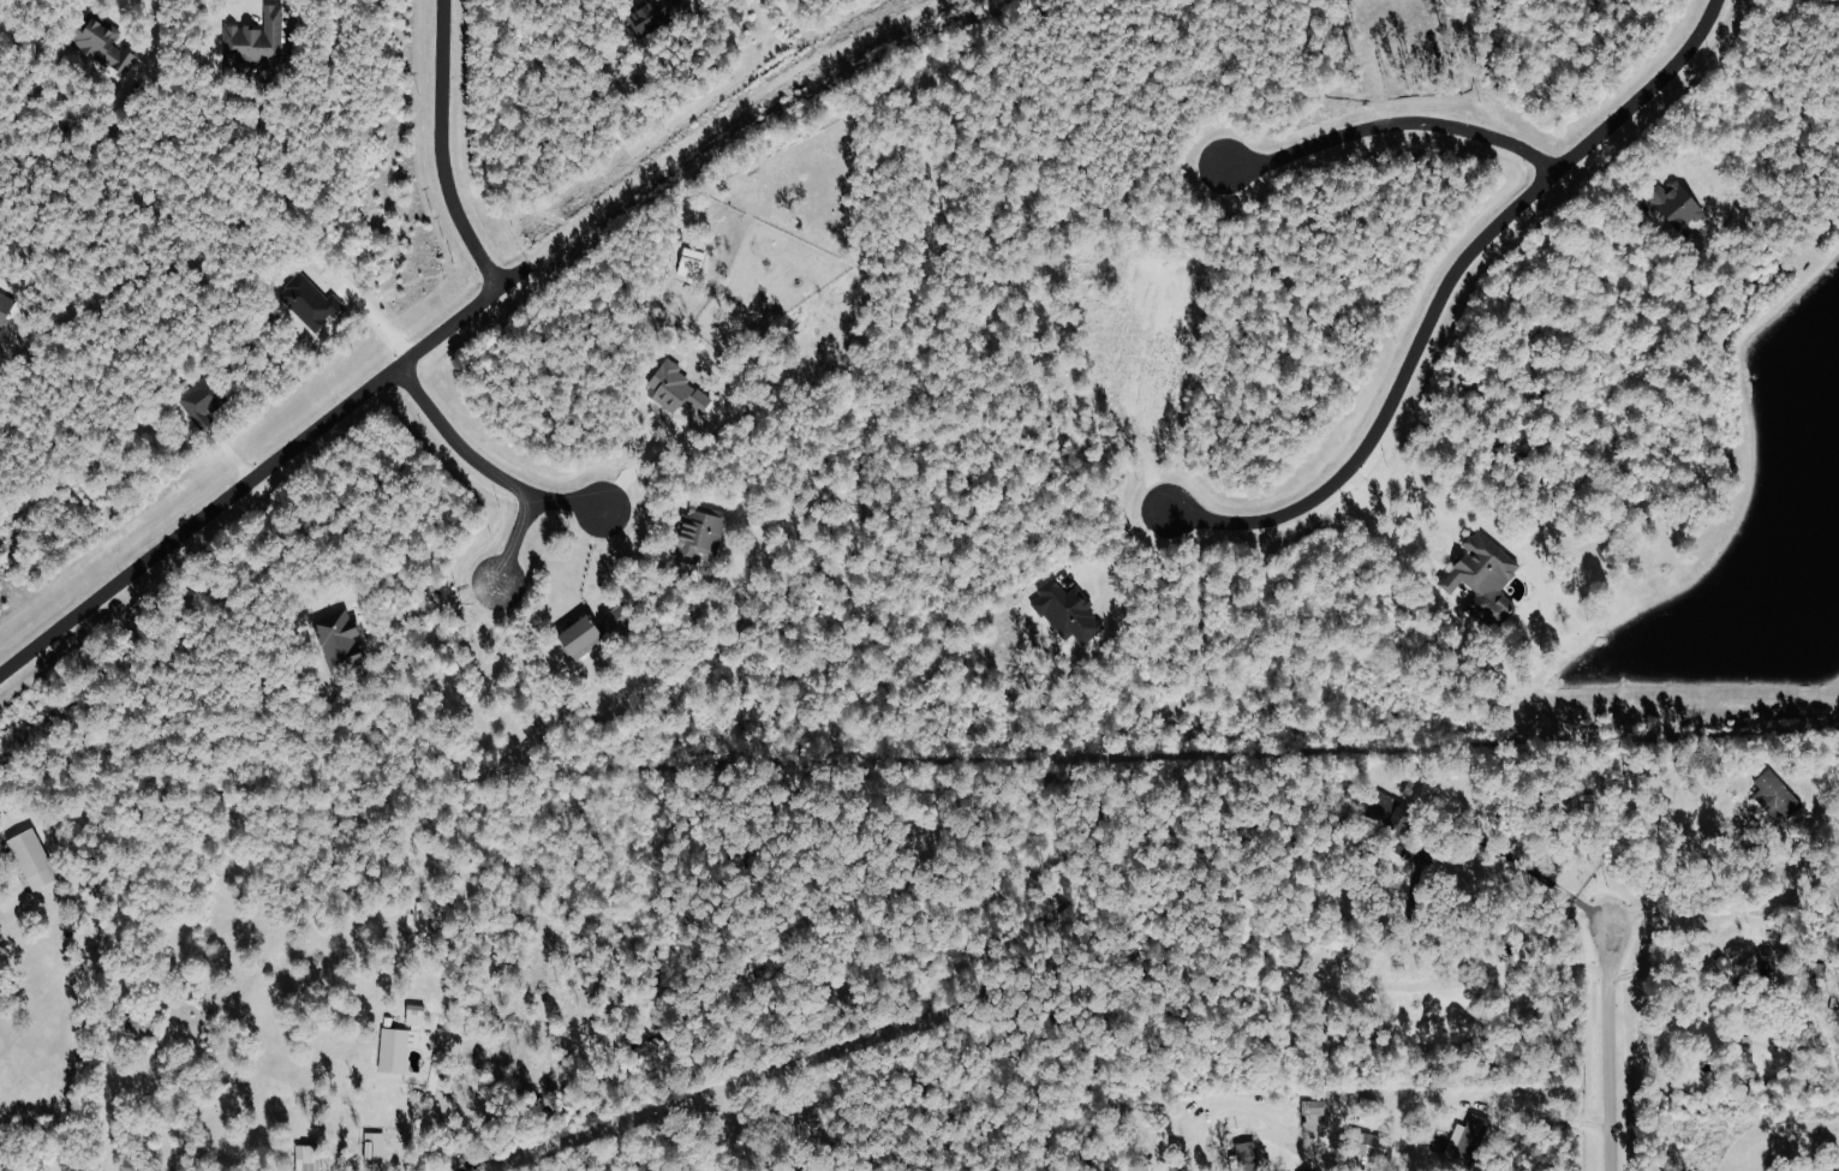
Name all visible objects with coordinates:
building: (652, 16)
road: (161, 28)
building: (255, 40)
building: (102, 43)
road: (1392, 127)
road: (441, 150)
building: (1677, 204)
road: (1445, 292)
building: (676, 390)
building: (199, 401)
road: (644, 450)
road: (471, 461)
road: (250, 478)
building: (699, 533)
road: (517, 539)
road: (1419, 546)
road: (1126, 550)
road: (598, 558)
building: (1485, 576)
road: (420, 605)
building: (1068, 613)
building: (615, 619)
building: (581, 638)
building: (1777, 796)
building: (1390, 813)
building: (31, 859)
road: (1524, 865)
road: (14, 897)
road: (1688, 898)
road: (1487, 974)
road: (1665, 974)
road: (1608, 1047)
building: (395, 1048)
building: (1313, 1106)
road: (1557, 1117)
building: (1468, 1136)
building: (1372, 1145)
building: (375, 1147)
building: (1247, 1154)
building: (301, 1158)

